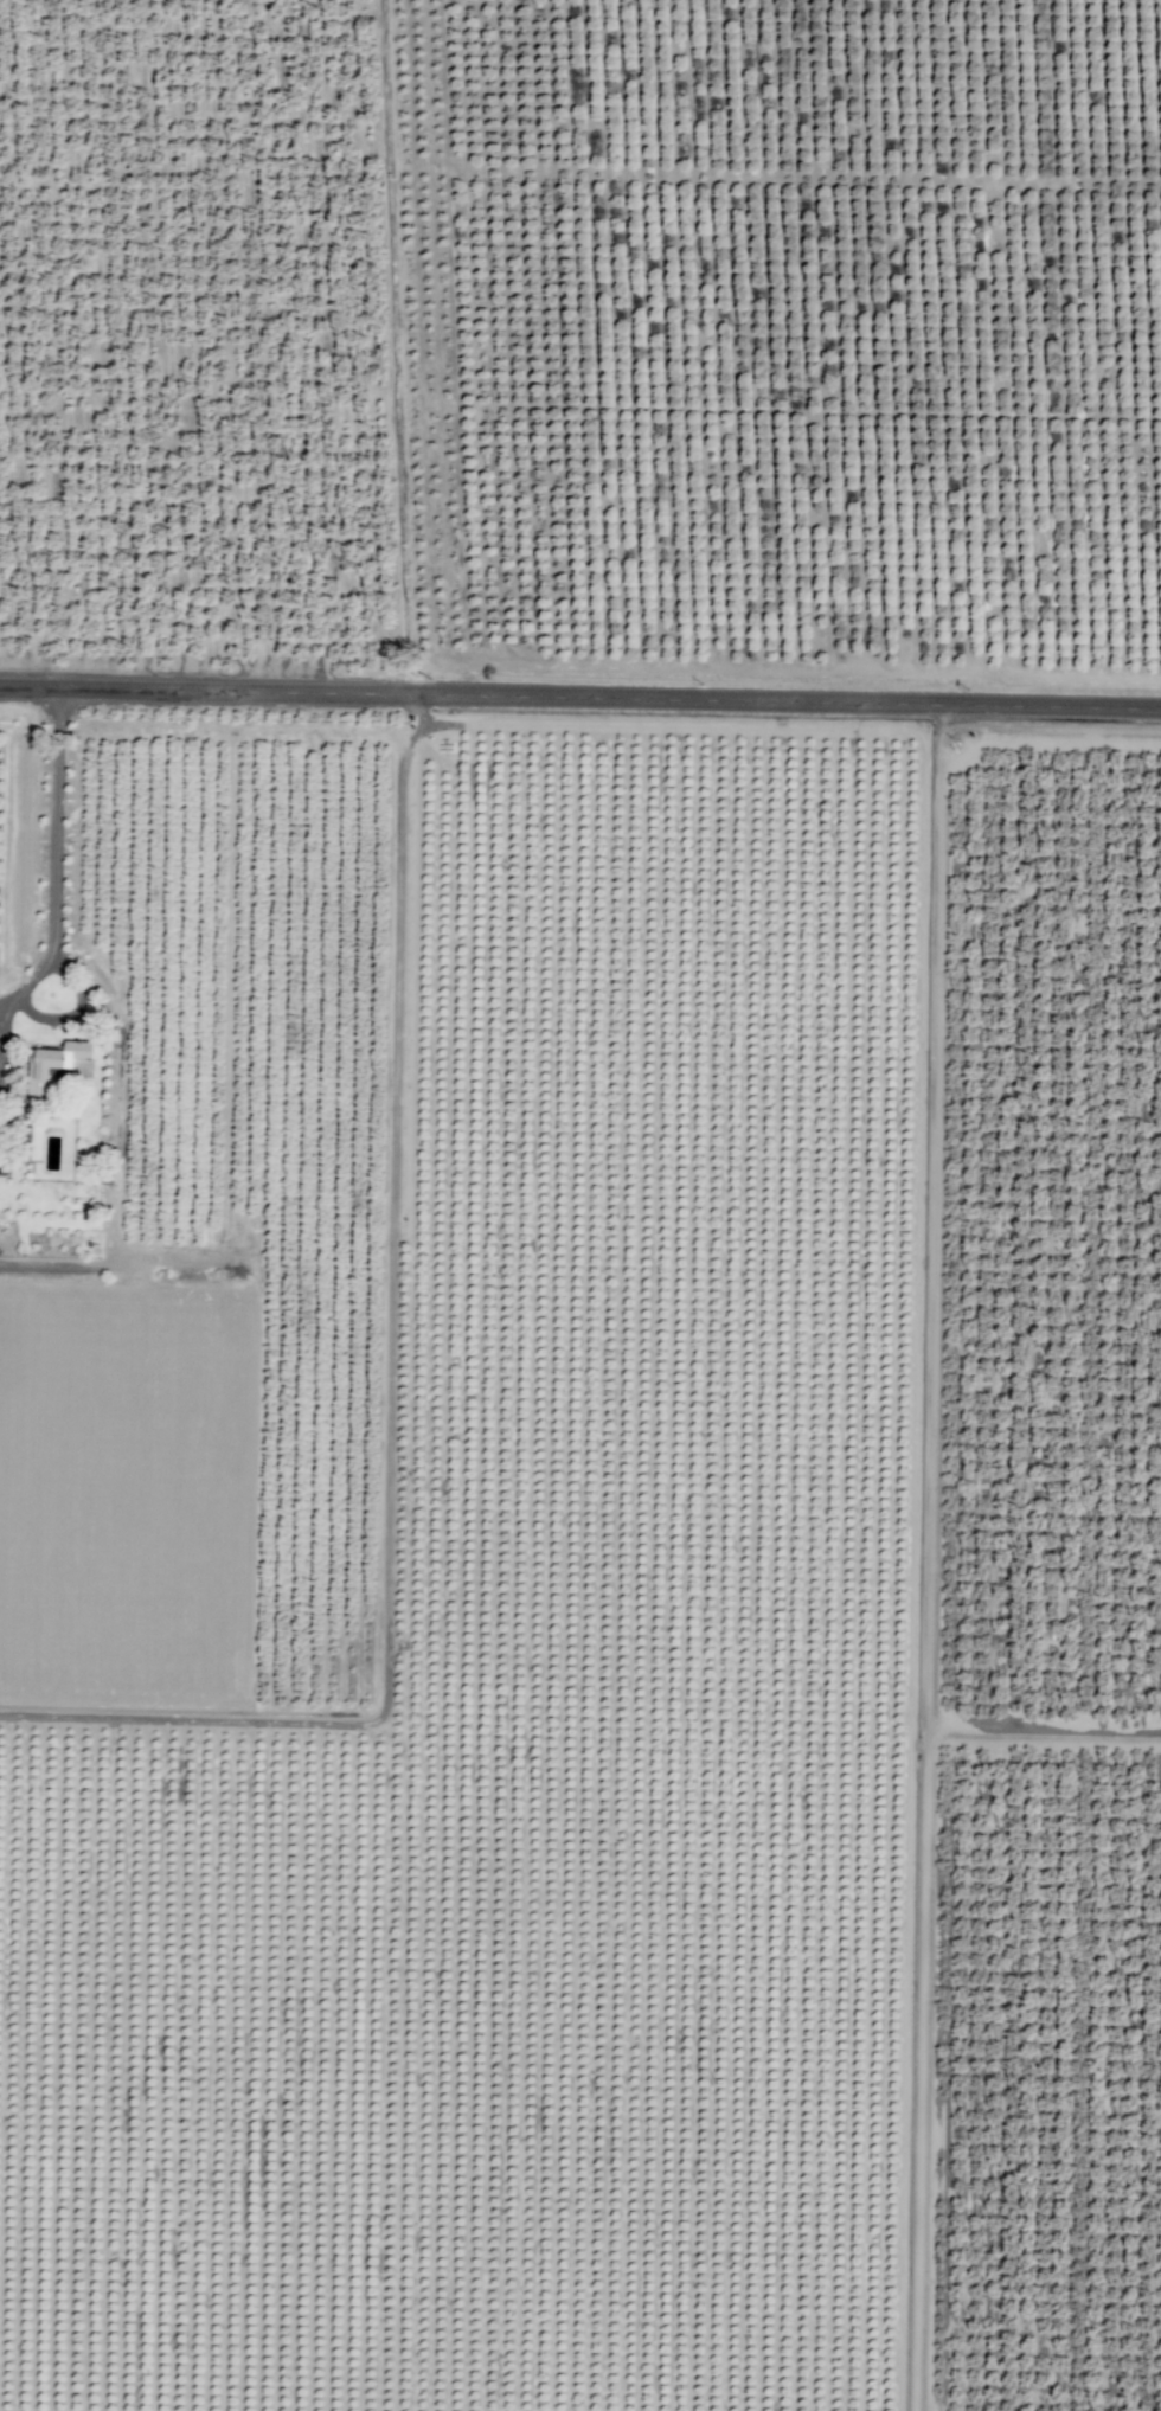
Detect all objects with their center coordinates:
road: (579, 694)
road: (50, 852)
building: (60, 1060)
building: (2, 1161)

